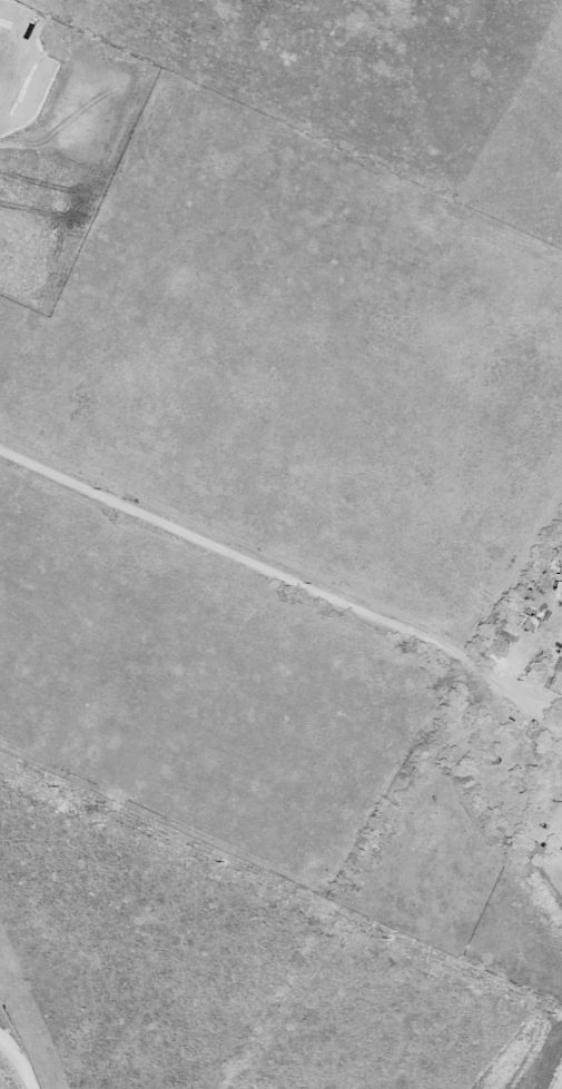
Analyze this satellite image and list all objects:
road: (288, 582)
building: (556, 676)
building: (535, 851)

